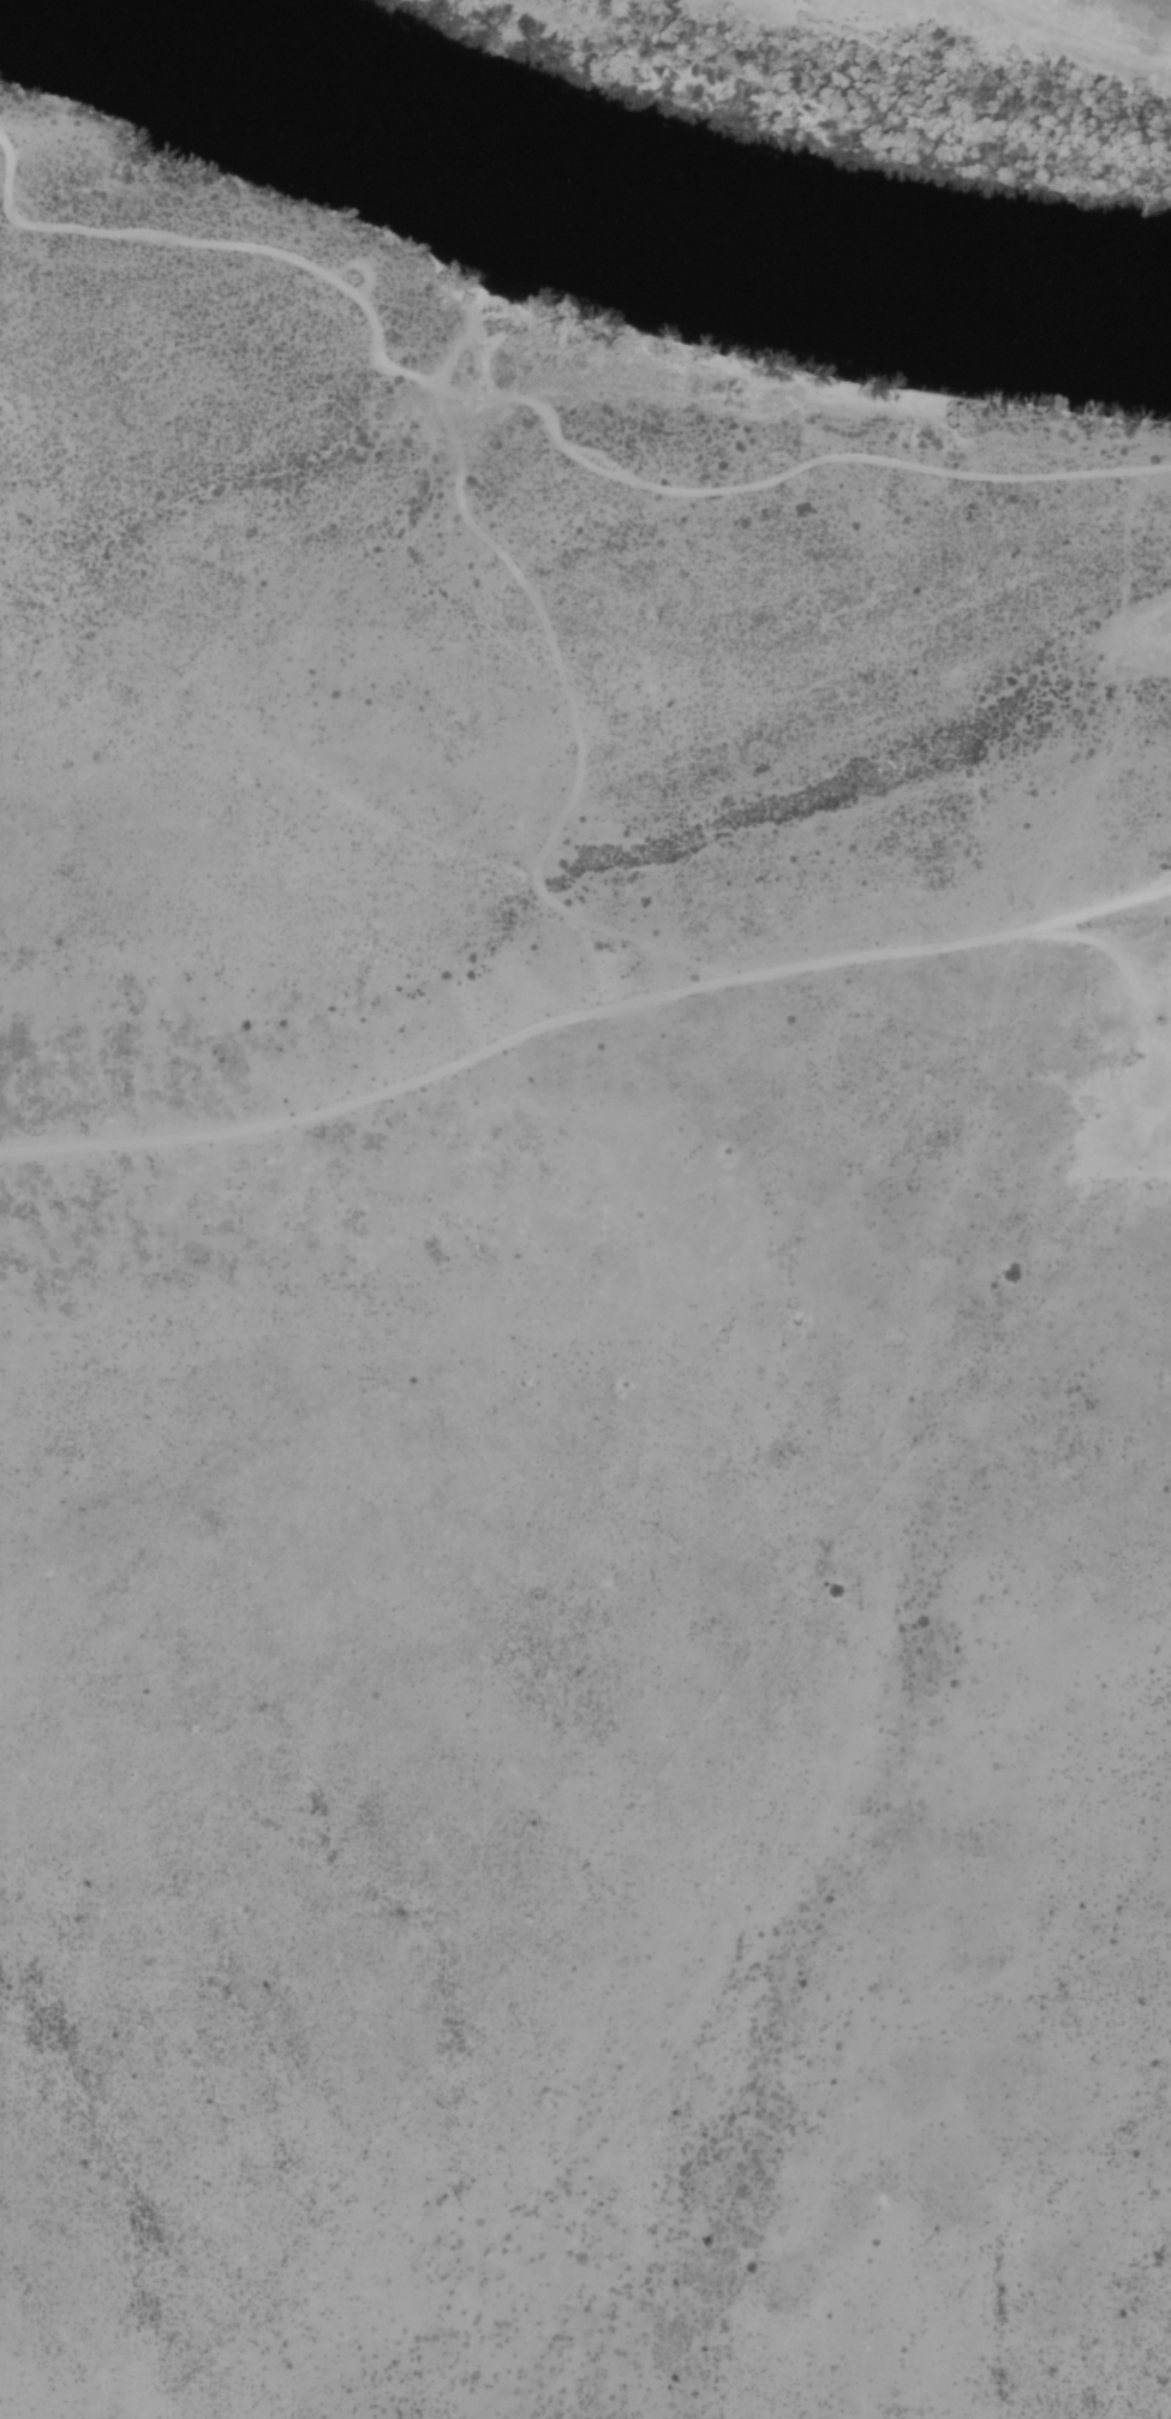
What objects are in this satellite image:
river: (635, 201)
road: (533, 401)
road: (1073, 921)
road: (1115, 988)
road: (488, 1052)

